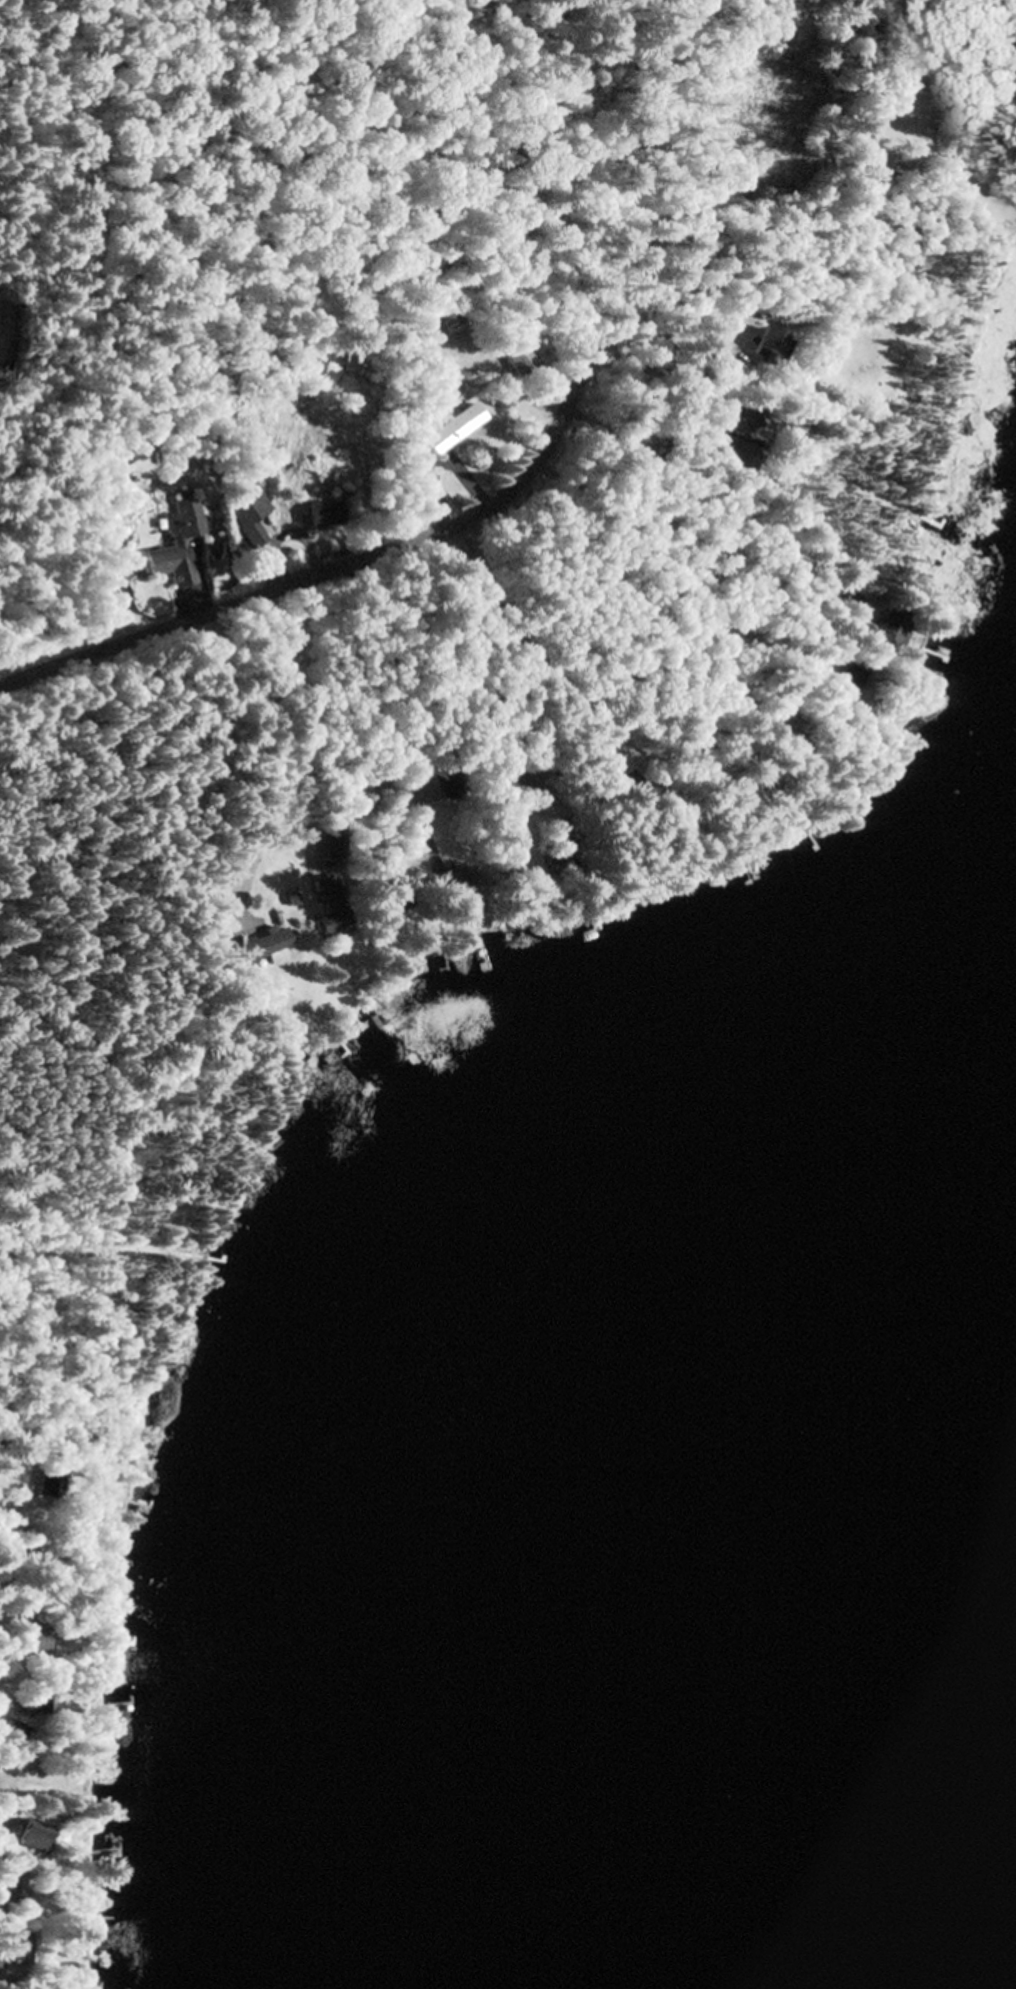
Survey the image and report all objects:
building: (875, 125)
park: (50, 150)
building: (453, 319)
building: (768, 345)
building: (519, 359)
building: (724, 363)
building: (456, 431)
building: (735, 448)
building: (326, 516)
building: (251, 528)
road: (405, 544)
building: (182, 546)
building: (891, 631)
building: (850, 685)
building: (444, 881)
building: (392, 898)
building: (333, 910)
building: (266, 948)
building: (47, 1487)
building: (31, 1642)
building: (10, 1729)
building: (35, 1835)
building: (5, 1845)
building: (13, 1890)
building: (13, 1950)

